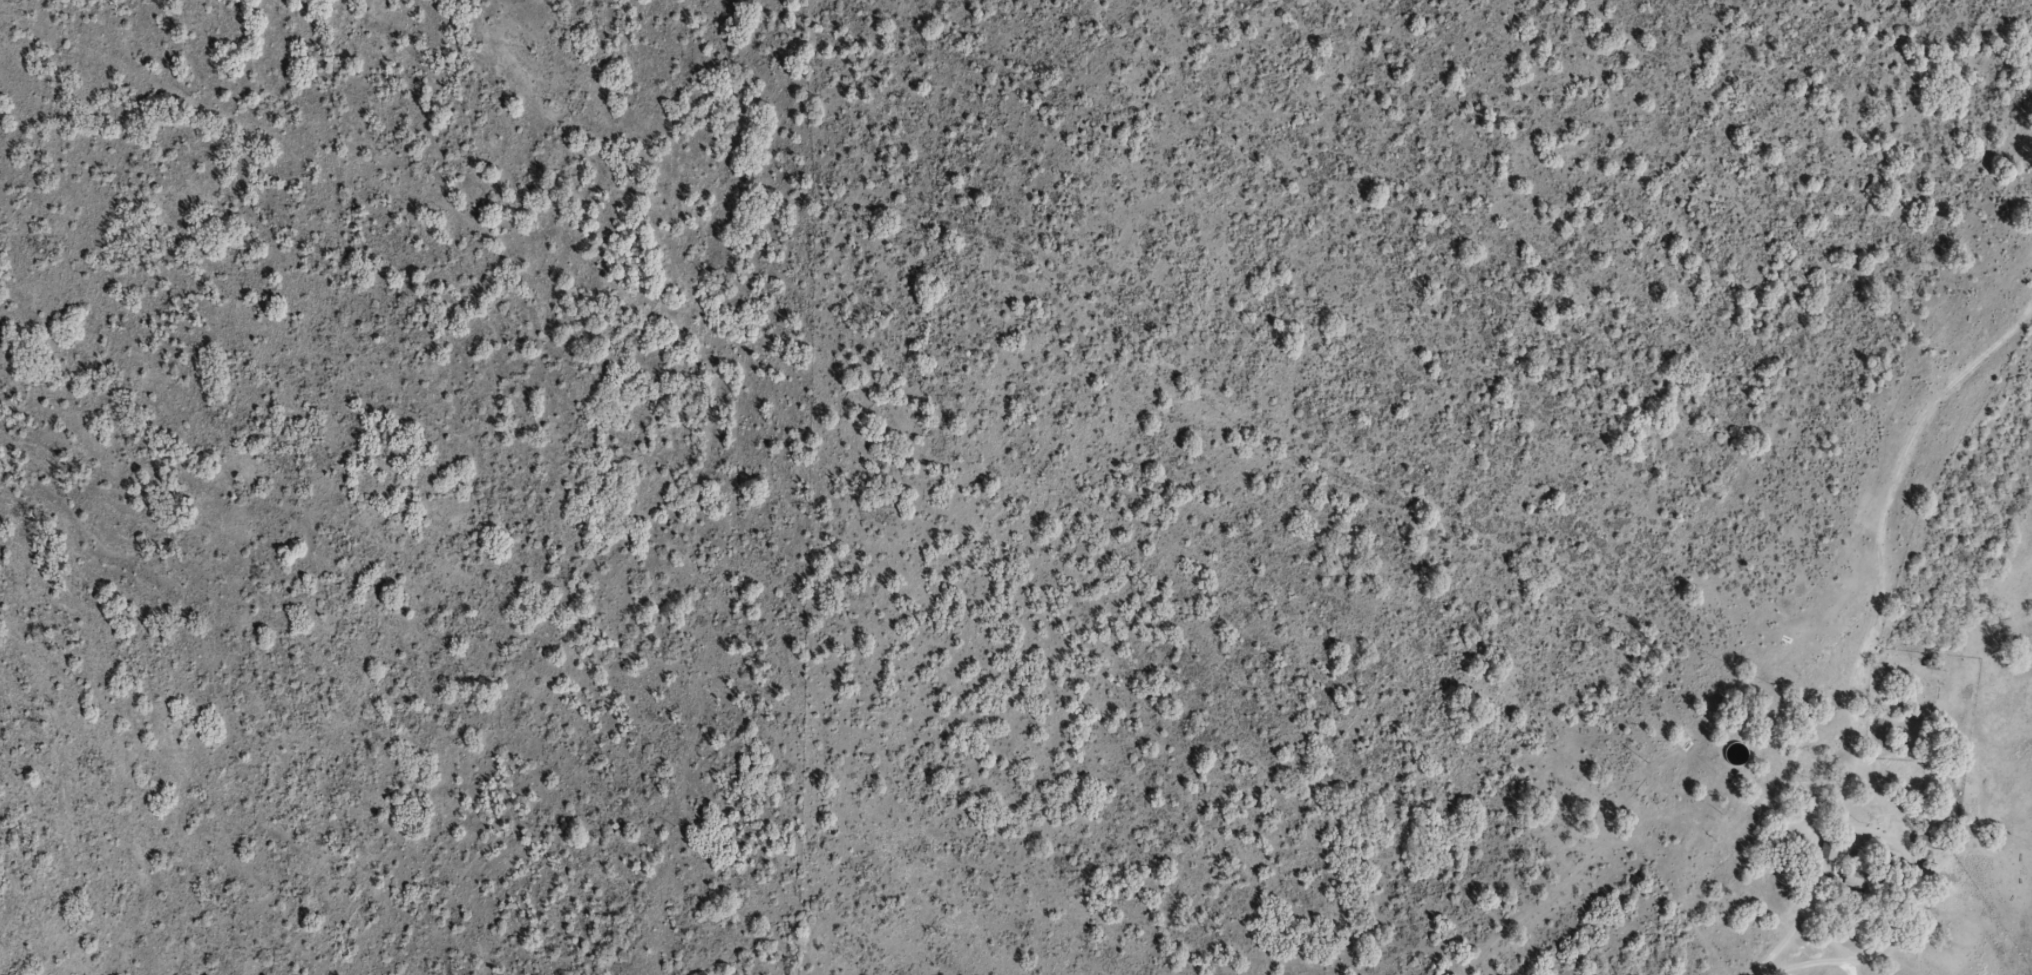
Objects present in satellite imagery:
road: (1909, 660)
road: (1985, 815)
building: (1825, 847)
building: (1855, 877)
road: (1848, 963)

